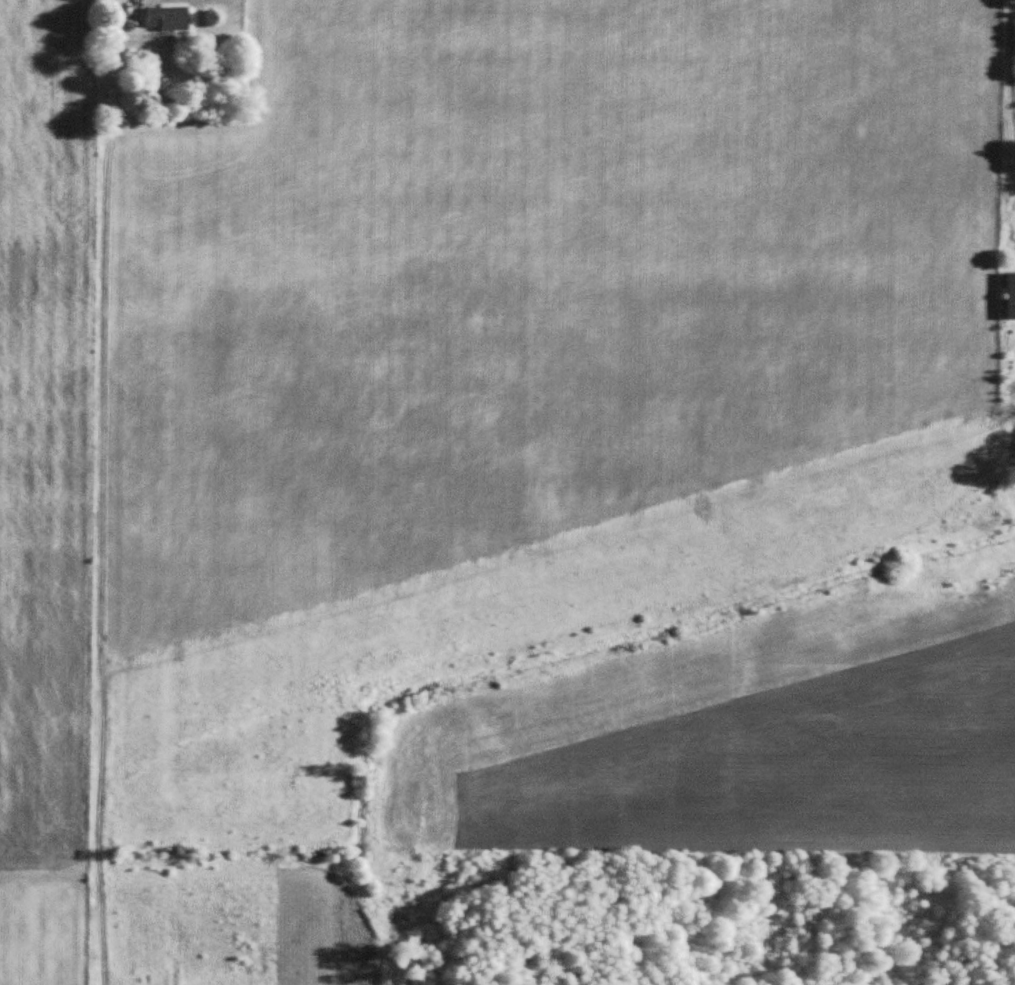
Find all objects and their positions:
building: (168, 18)
building: (1012, 297)

